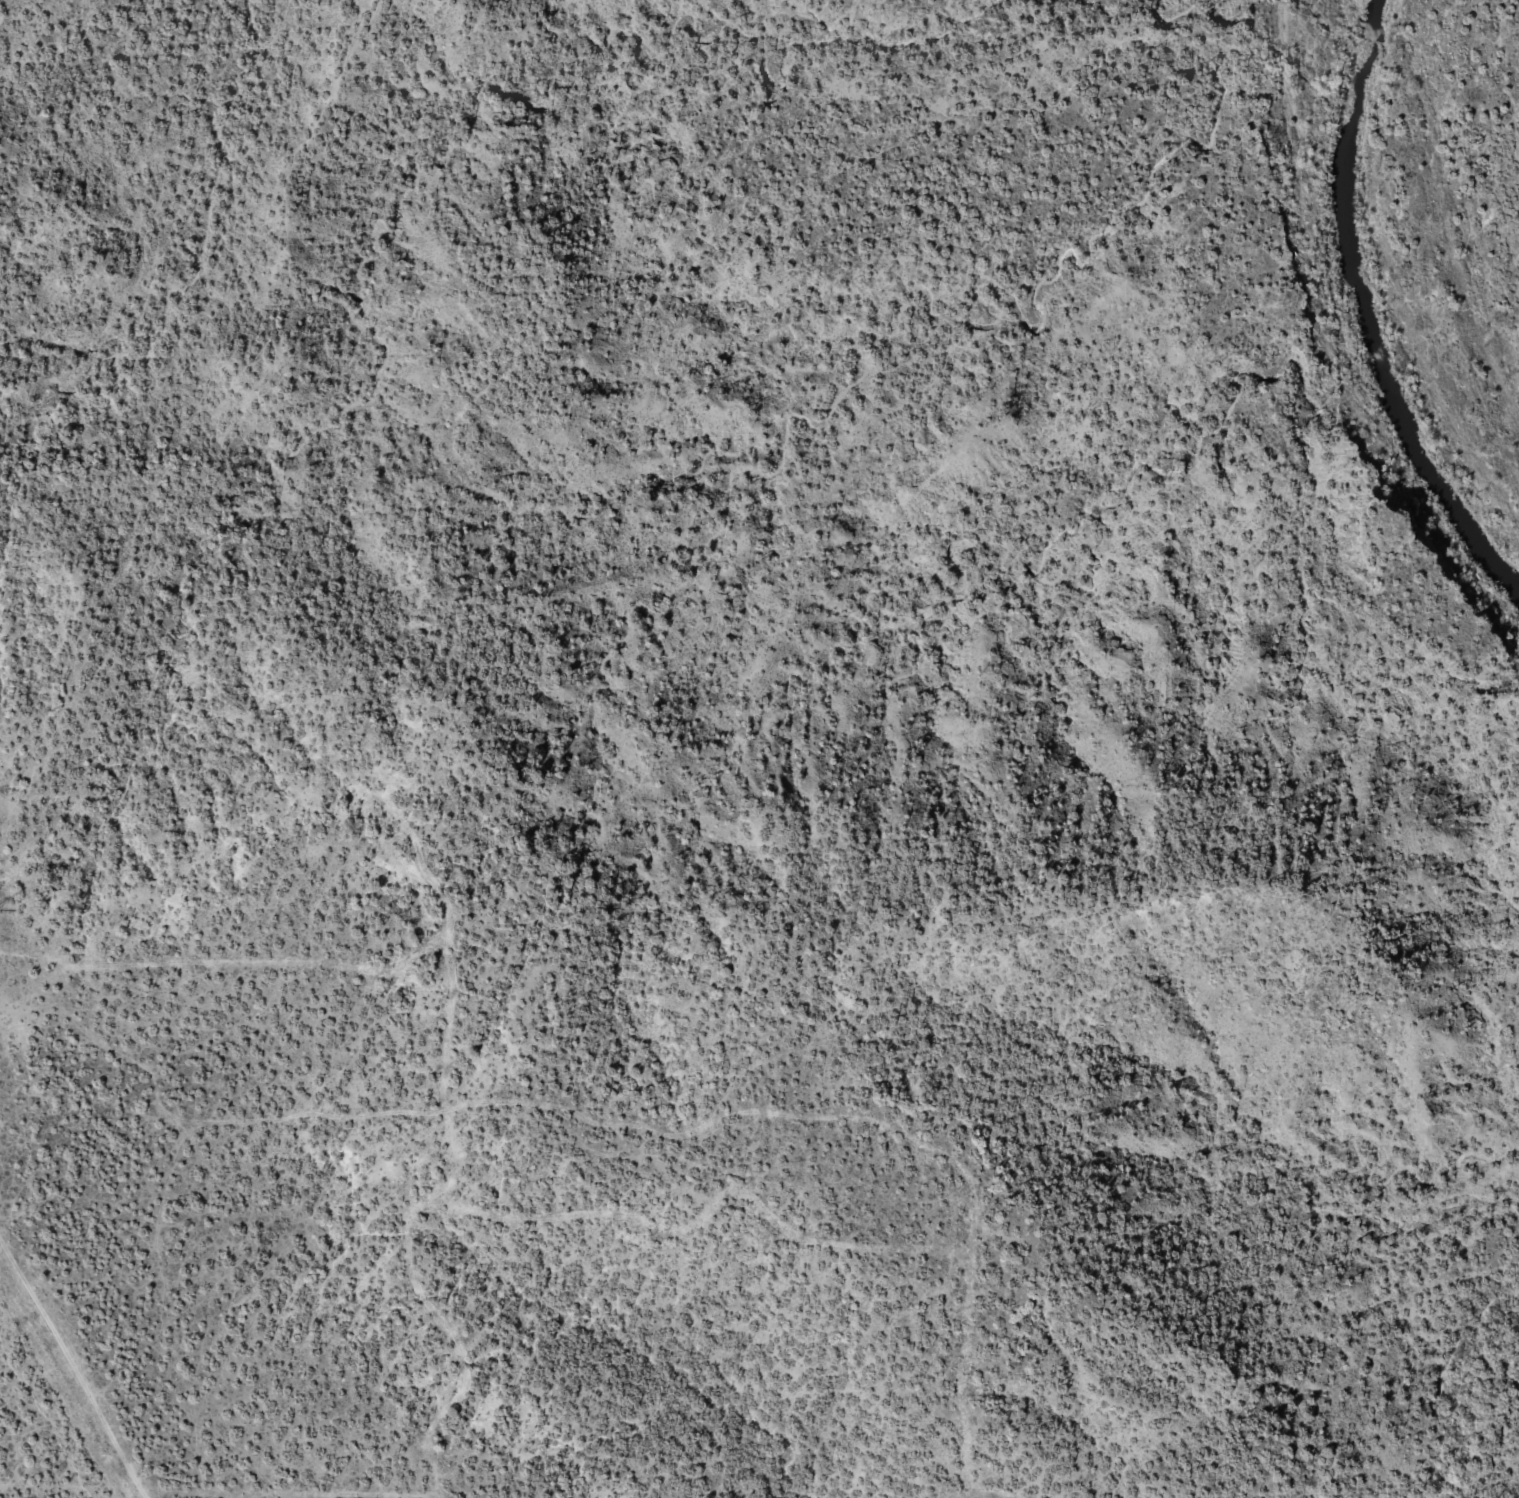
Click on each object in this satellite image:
river: (1363, 315)

